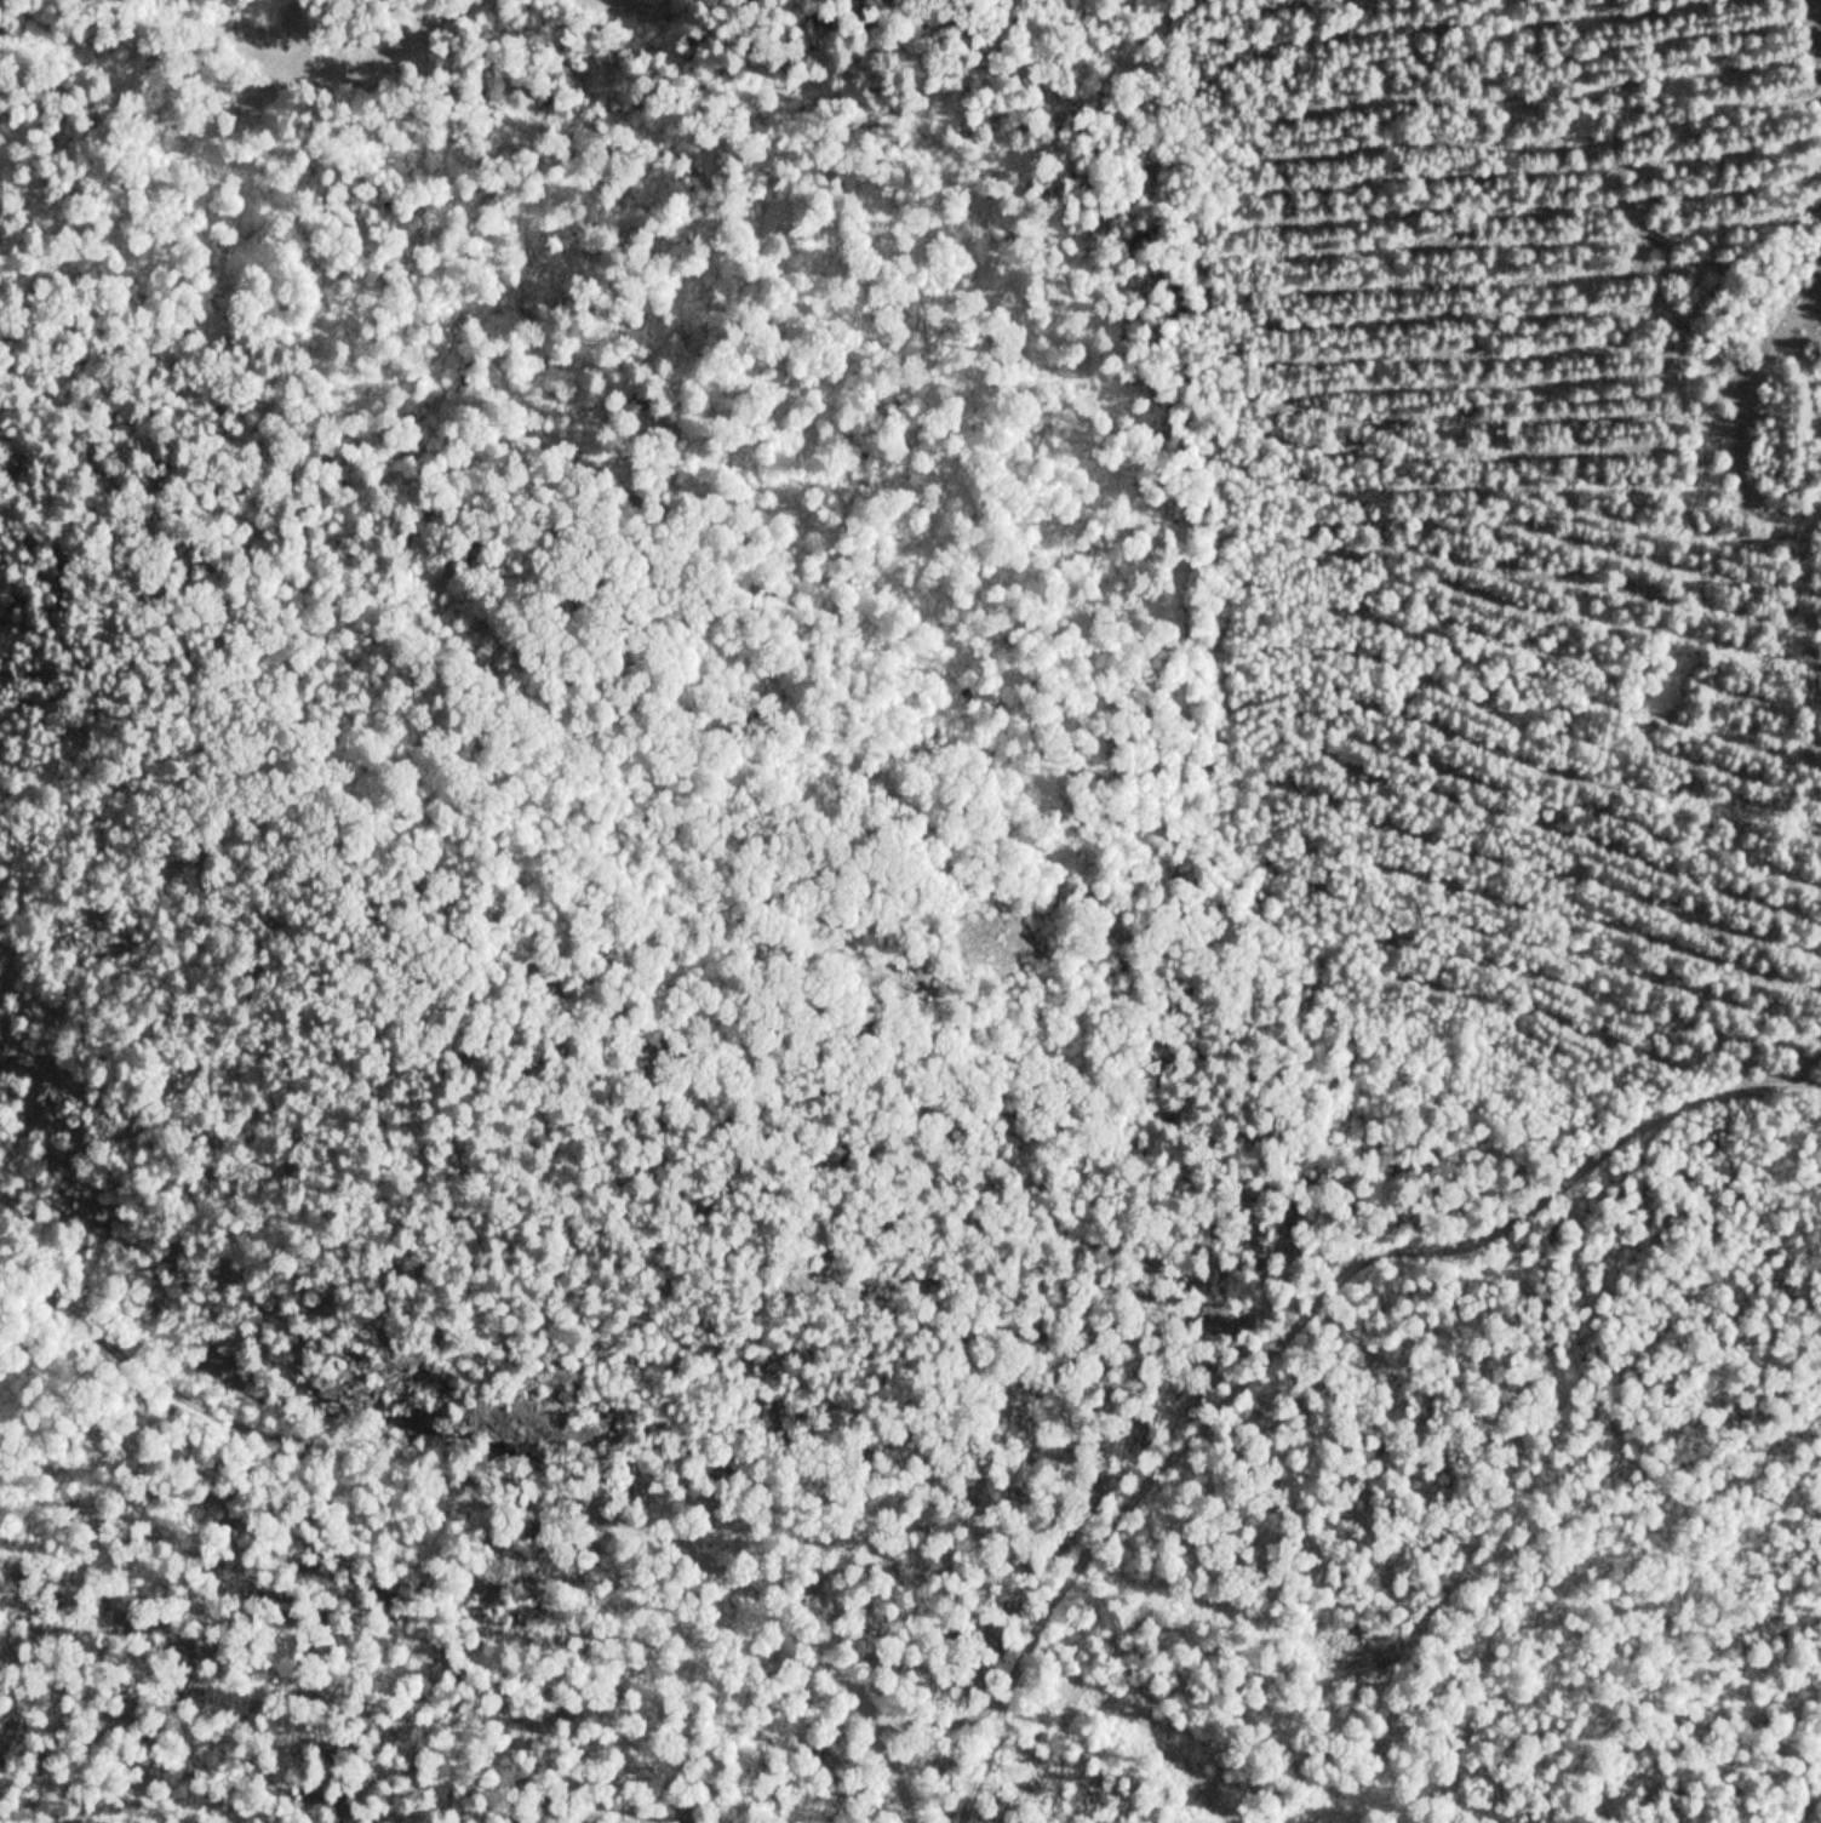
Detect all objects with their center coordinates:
road: (1745, 428)
road: (1269, 1309)
road: (502, 1479)
building: (1080, 1590)
road: (1136, 1715)

